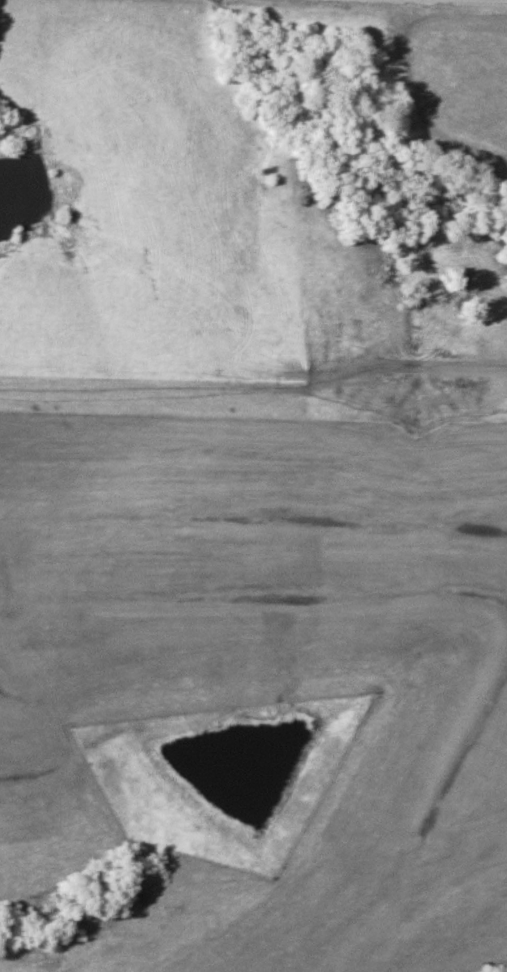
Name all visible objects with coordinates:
road: (480, 0)

